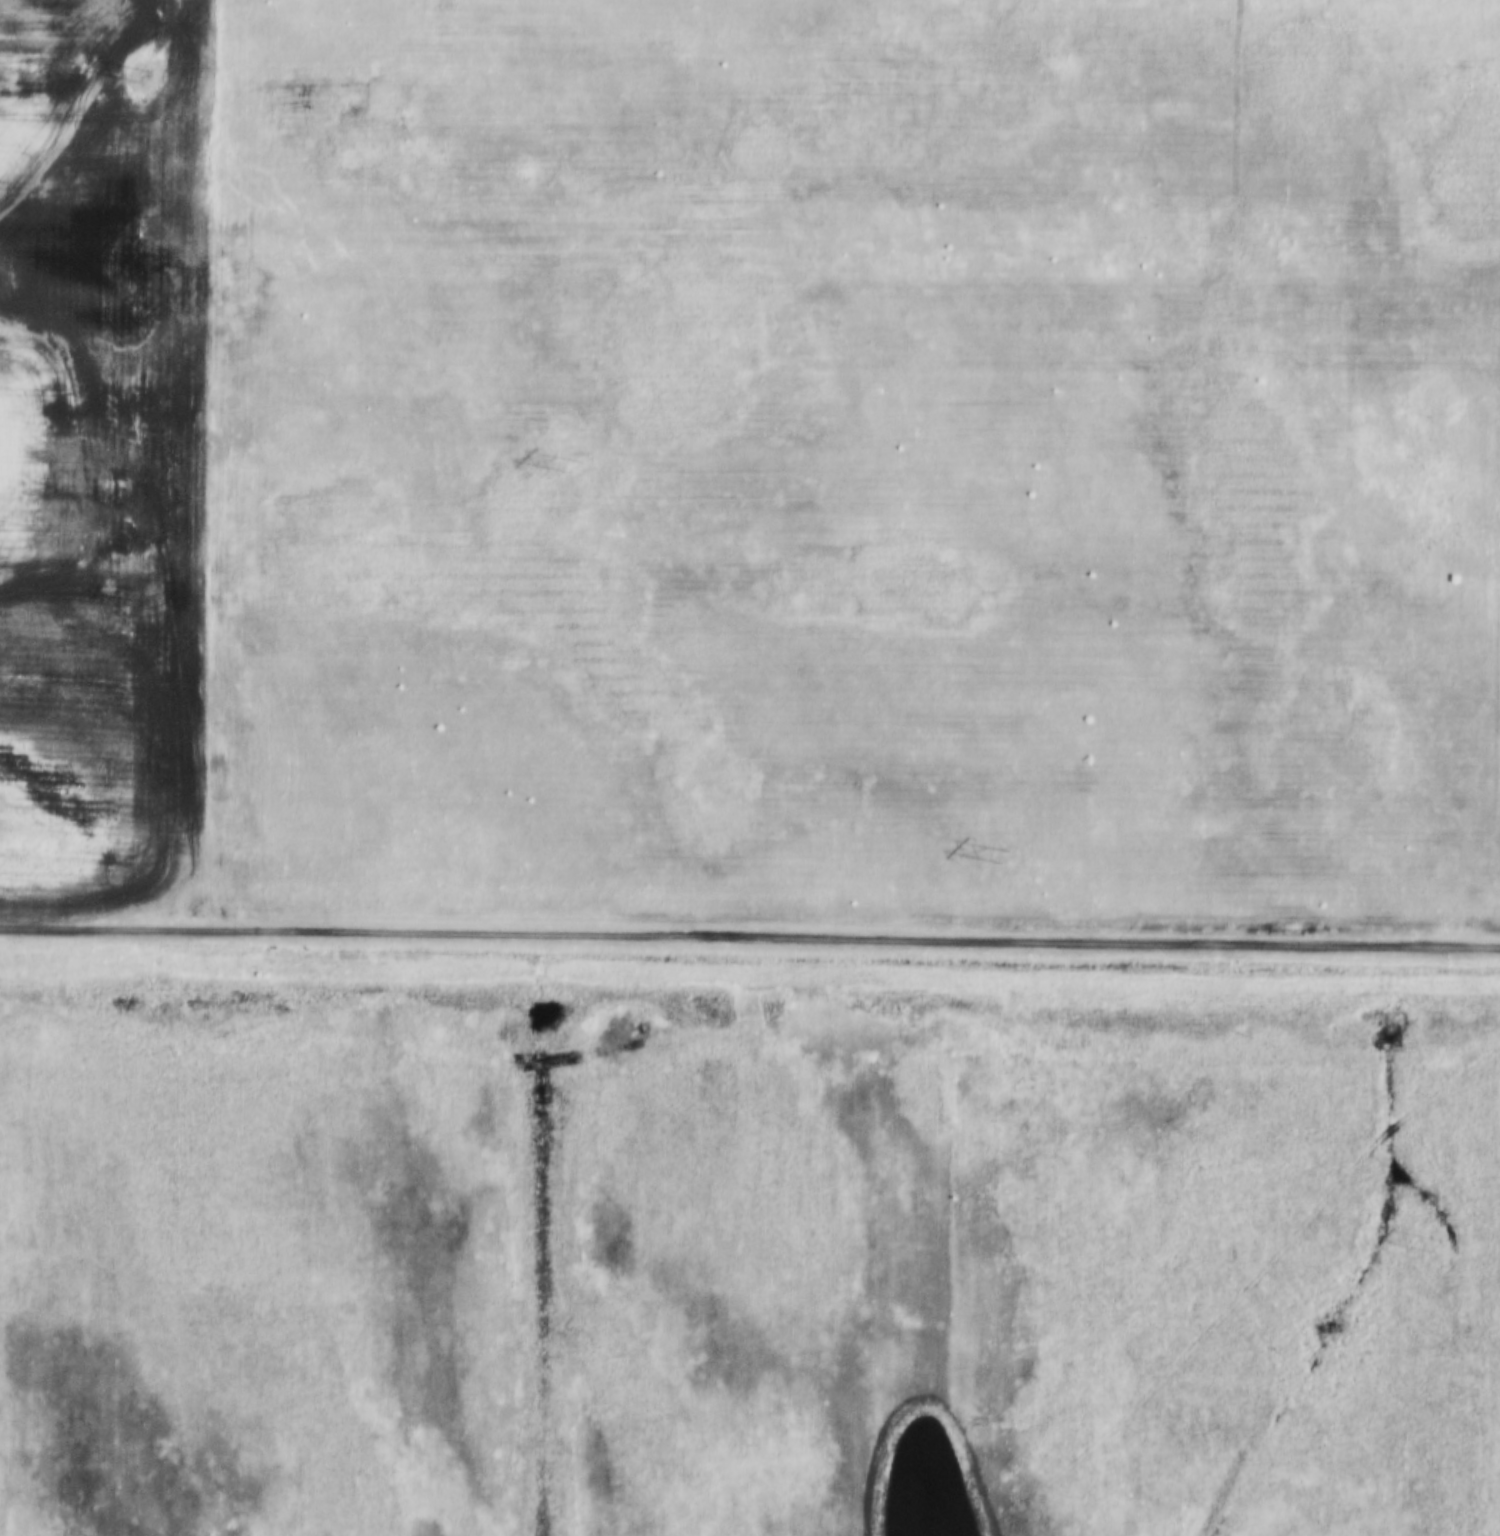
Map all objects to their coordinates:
power tower: (143, 76)
power tower: (575, 468)
power tower: (1005, 856)
road: (750, 940)
power tower: (1434, 1245)

